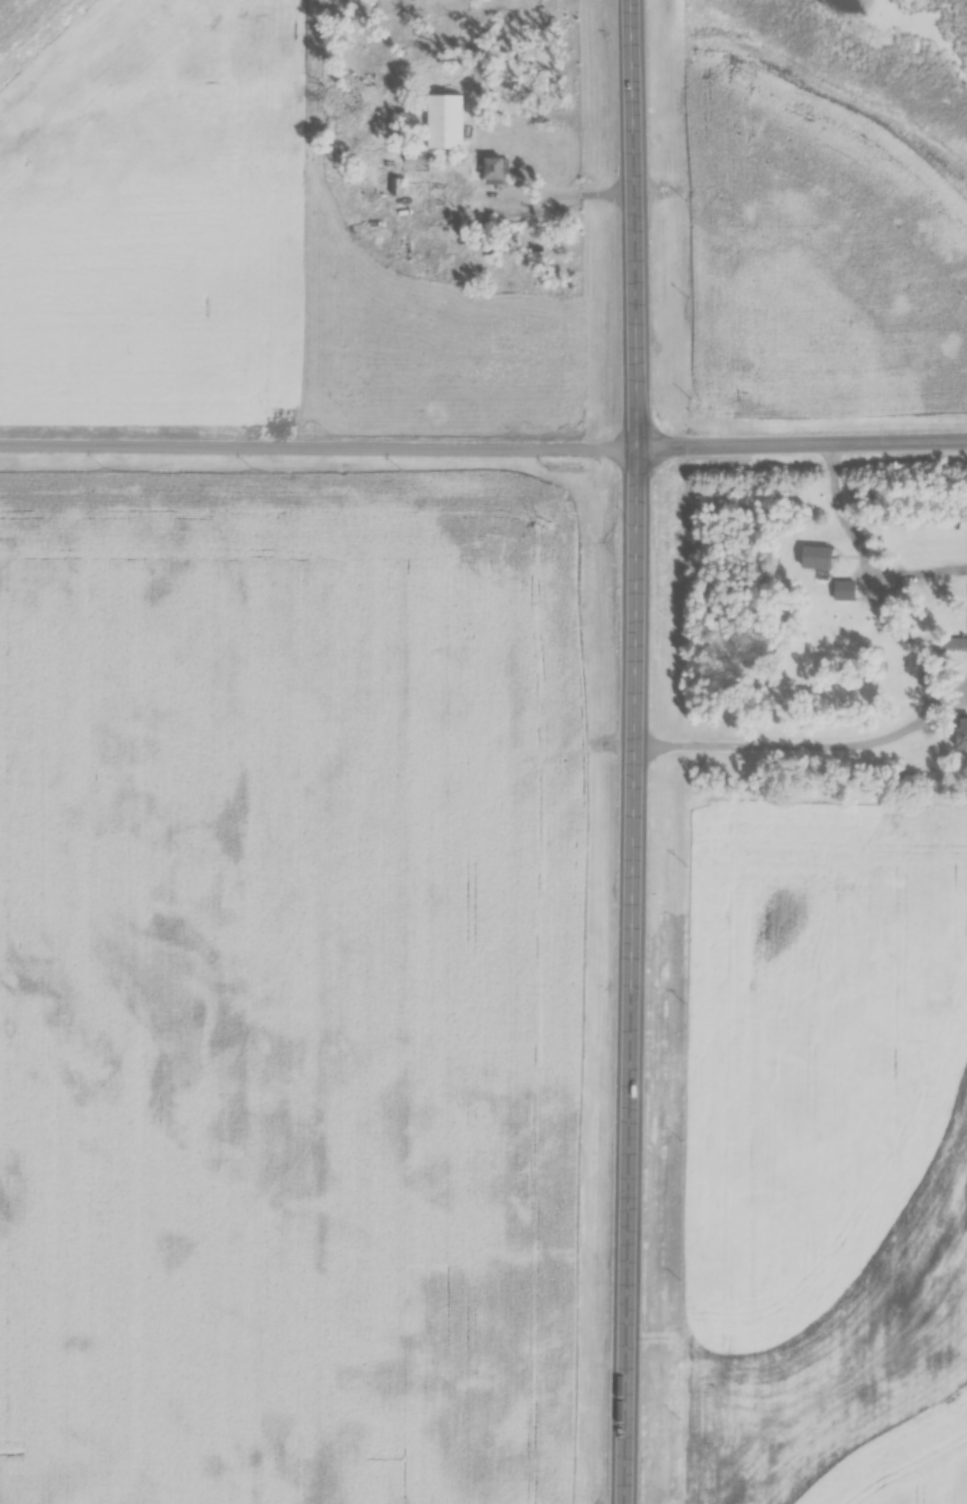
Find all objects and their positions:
building: (442, 110)
building: (420, 156)
building: (498, 171)
crop: (153, 206)
road: (806, 443)
road: (323, 446)
road: (865, 551)
building: (820, 557)
building: (964, 643)
building: (931, 679)
building: (962, 734)
road: (809, 743)
road: (641, 751)
road: (779, 849)

